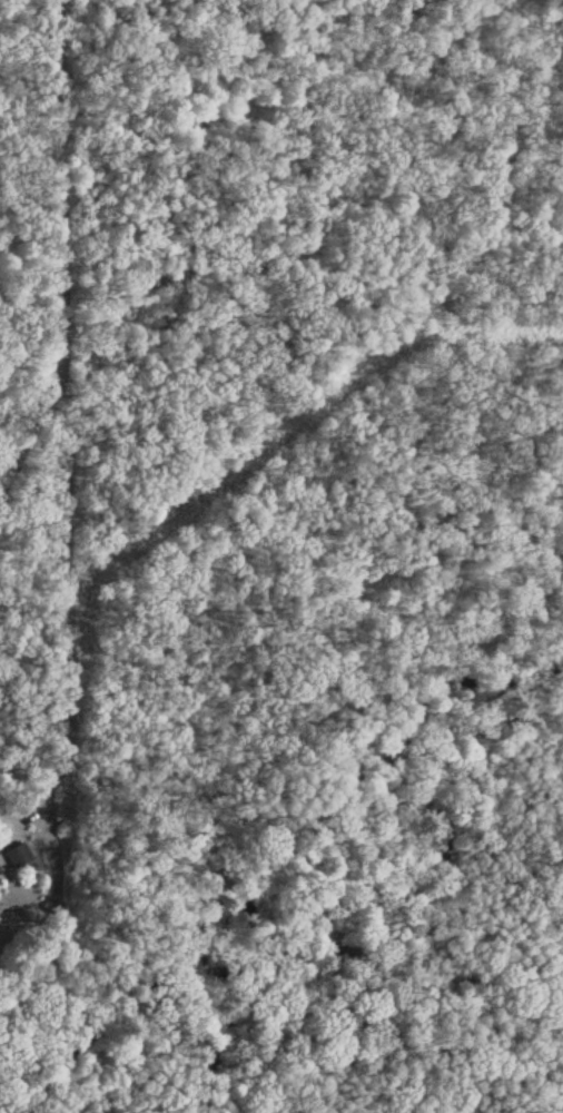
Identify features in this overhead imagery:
road: (62, 171)
road: (32, 420)
road: (67, 595)
building: (19, 855)
building: (0, 873)

